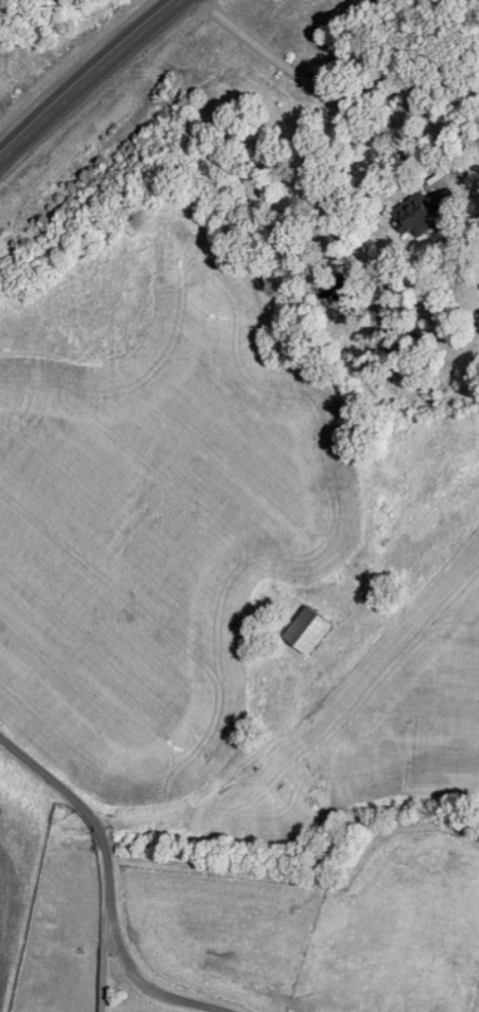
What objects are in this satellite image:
road: (88, 77)
road: (352, 104)
road: (123, 110)
building: (410, 215)
building: (302, 630)
road: (58, 784)
road: (125, 956)
road: (103, 962)

